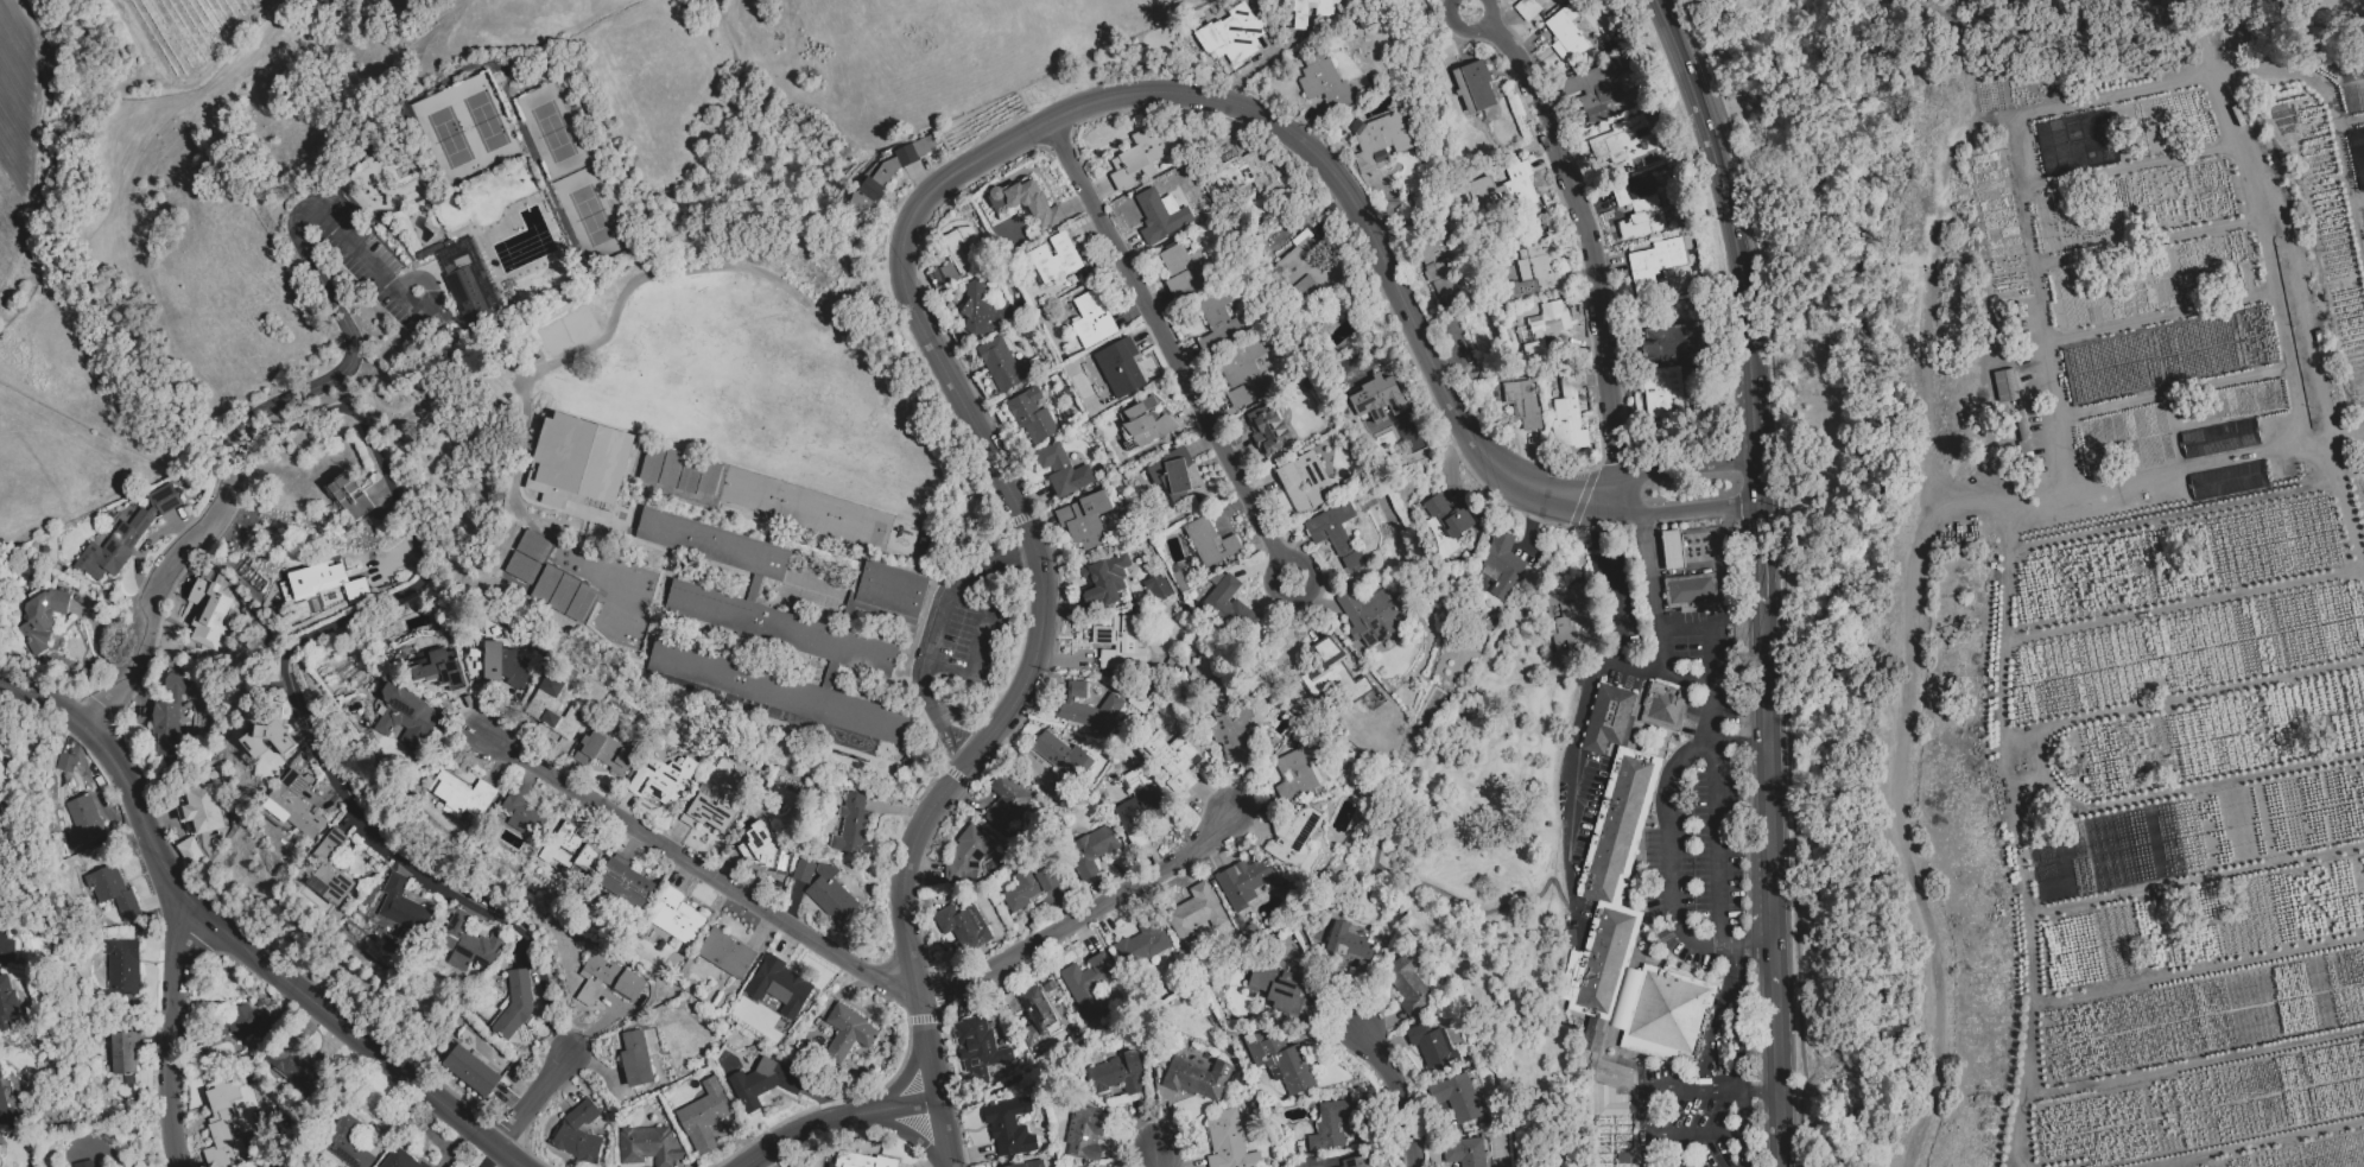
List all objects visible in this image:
building: (1527, 7)
building: (1311, 11)
building: (2208, 25)
building: (2265, 25)
building: (1232, 34)
building: (1564, 34)
building: (2220, 51)
road: (2206, 58)
road: (1259, 64)
building: (1323, 83)
building: (1472, 87)
building: (1592, 90)
road: (2113, 95)
park: (486, 119)
park: (552, 128)
park: (446, 134)
building: (1621, 138)
road: (1013, 139)
building: (1377, 140)
building: (1136, 159)
building: (1241, 175)
road: (2347, 183)
building: (1503, 190)
road: (2357, 198)
building: (1027, 202)
building: (1639, 209)
park: (589, 213)
building: (1160, 215)
road: (1741, 248)
road: (1589, 249)
building: (962, 253)
road: (2270, 255)
building: (1053, 258)
parking lot: (367, 262)
building: (1653, 264)
building: (1307, 266)
building: (1530, 267)
building: (1184, 269)
building: (449, 274)
road: (658, 274)
building: (1441, 278)
building: (471, 288)
road: (327, 290)
road: (2041, 306)
building: (981, 311)
road: (2165, 316)
building: (1091, 319)
building: (1219, 322)
building: (1542, 328)
building: (1669, 343)
road: (1171, 351)
building: (1002, 364)
building: (1118, 367)
building: (1242, 372)
road: (356, 388)
building: (2007, 388)
building: (1660, 391)
road: (2178, 394)
building: (1377, 399)
building: (1521, 402)
building: (1031, 414)
building: (1566, 421)
building: (1145, 423)
building: (2022, 427)
building: (1267, 429)
road: (2337, 435)
building: (2219, 438)
road: (237, 459)
building: (578, 461)
building: (1061, 470)
building: (679, 471)
building: (1171, 474)
building: (2227, 480)
building: (1304, 482)
road: (2116, 487)
road: (1545, 494)
building: (349, 496)
building: (2147, 499)
building: (588, 512)
building: (1447, 515)
building: (1083, 519)
building: (125, 534)
building: (1336, 534)
road: (1145, 537)
building: (1209, 543)
building: (1671, 548)
road: (1672, 551)
road: (1656, 552)
building: (527, 557)
road: (1757, 559)
building: (1502, 563)
road: (1722, 567)
road: (1604, 575)
road: (1783, 576)
road: (1915, 577)
building: (316, 579)
building: (1102, 582)
building: (1155, 588)
building: (355, 590)
building: (1690, 591)
building: (562, 592)
road: (1655, 600)
building: (1229, 607)
building: (207, 613)
building: (1369, 615)
building: (42, 619)
building: (1568, 623)
road: (1685, 629)
building: (761, 634)
road: (932, 636)
building: (1118, 642)
building: (474, 666)
building: (1331, 672)
road: (1762, 683)
road: (1713, 687)
building: (553, 706)
building: (1663, 706)
building: (1088, 709)
building: (169, 717)
building: (1609, 717)
building: (405, 718)
building: (1228, 724)
road: (1583, 725)
road: (1327, 731)
building: (270, 738)
road: (1742, 746)
building: (602, 753)
building: (1061, 755)
building: (1172, 759)
building: (2074, 768)
building: (1295, 770)
building: (660, 779)
building: (461, 794)
building: (1137, 801)
building: (1004, 803)
building: (294, 805)
building: (80, 807)
building: (522, 812)
building: (710, 812)
building: (198, 822)
road: (1384, 824)
building: (853, 825)
building: (1617, 825)
building: (1293, 835)
building: (569, 849)
building: (766, 849)
road: (1718, 849)
building: (1089, 850)
building: (966, 856)
road: (400, 857)
building: (1, 864)
building: (330, 869)
road: (705, 870)
road: (1671, 875)
building: (626, 882)
building: (1243, 882)
building: (1027, 887)
building: (825, 889)
building: (113, 892)
building: (401, 908)
road: (1571, 909)
building: (1193, 913)
building: (673, 914)
building: (1, 915)
road: (1084, 920)
building: (962, 925)
road: (1774, 925)
road: (910, 927)
road: (1256, 935)
road: (233, 944)
building: (468, 944)
building: (1141, 944)
building: (1345, 944)
building: (725, 952)
road: (1737, 952)
building: (1601, 962)
building: (122, 966)
building: (613, 975)
road: (1323, 975)
building: (1408, 984)
building: (779, 985)
building: (1088, 985)
building: (1284, 992)
building: (515, 1003)
building: (7, 1004)
building: (1035, 1013)
building: (1667, 1015)
building: (243, 1023)
road: (170, 1032)
building: (847, 1032)
building: (1431, 1045)
building: (977, 1047)
building: (122, 1053)
building: (635, 1058)
building: (1279, 1060)
building: (297, 1066)
building: (470, 1070)
building: (1116, 1074)
road: (1149, 1074)
building: (1197, 1078)
road: (901, 1079)
building: (1605, 1079)
building: (765, 1082)
road: (1761, 1092)
road: (1658, 1093)
road: (1398, 1095)
building: (1456, 1097)
road: (1741, 1111)
building: (9, 1112)
building: (703, 1116)
road: (832, 1117)
building: (222, 1123)
building: (1330, 1124)
building: (1008, 1127)
road: (1782, 1130)
building: (578, 1133)
road: (904, 1133)
building: (1084, 1133)
road: (943, 1134)
road: (1694, 1134)
building: (347, 1142)
building: (1228, 1142)
road: (100, 1146)
building: (648, 1146)
road: (1741, 1149)
building: (1464, 1152)
road: (1161, 1156)
building: (401, 1159)
building: (862, 1160)
building: (1356, 1161)
building: (1311, 1162)
building: (83, 1163)
building: (1027, 1163)

